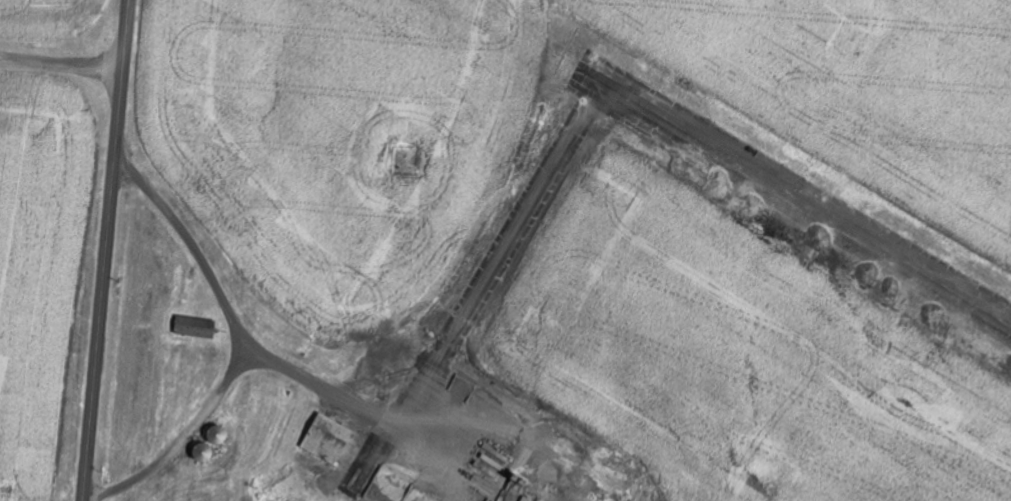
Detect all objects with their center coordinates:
road: (105, 250)
building: (196, 328)
road: (206, 335)
road: (253, 381)
building: (328, 438)

